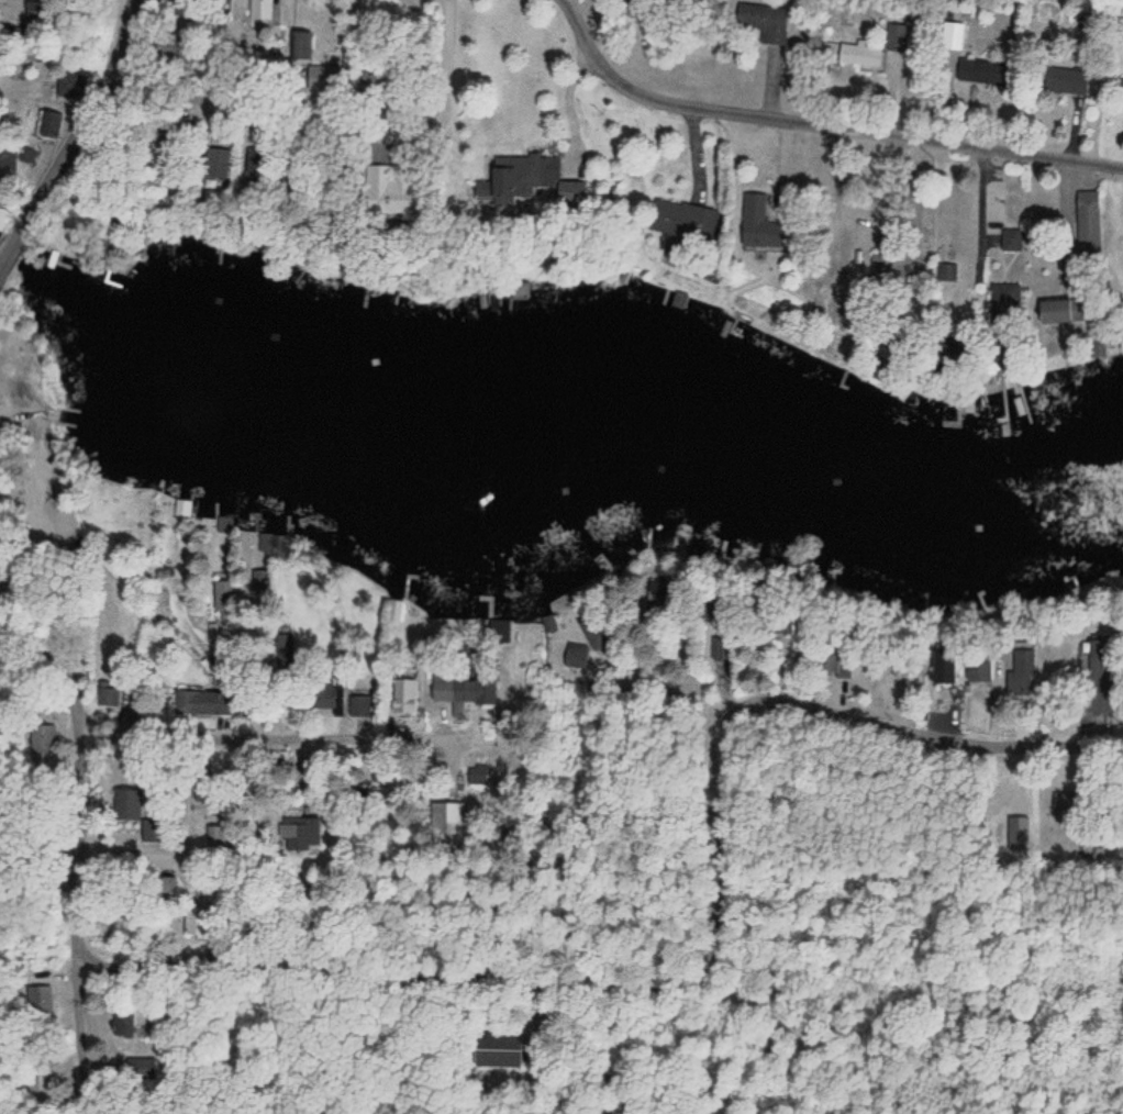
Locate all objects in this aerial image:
building: (258, 10)
building: (763, 21)
building: (897, 38)
building: (298, 46)
building: (858, 56)
building: (980, 75)
building: (1066, 81)
building: (71, 85)
building: (1121, 91)
road: (87, 118)
road: (331, 121)
road: (819, 123)
building: (49, 125)
building: (29, 155)
building: (213, 164)
building: (5, 169)
building: (514, 185)
building: (393, 189)
building: (2, 215)
building: (679, 221)
building: (755, 224)
road: (11, 249)
building: (946, 276)
building: (1049, 313)
park: (49, 500)
building: (259, 579)
building: (578, 655)
building: (1023, 672)
building: (487, 688)
building: (456, 690)
building: (405, 693)
building: (325, 695)
building: (107, 697)
road: (803, 701)
building: (203, 703)
building: (360, 705)
road: (208, 734)
building: (44, 738)
road: (86, 771)
building: (131, 804)
building: (456, 816)
building: (307, 832)
road: (418, 970)
building: (46, 1000)
building: (126, 1024)
building: (503, 1050)

